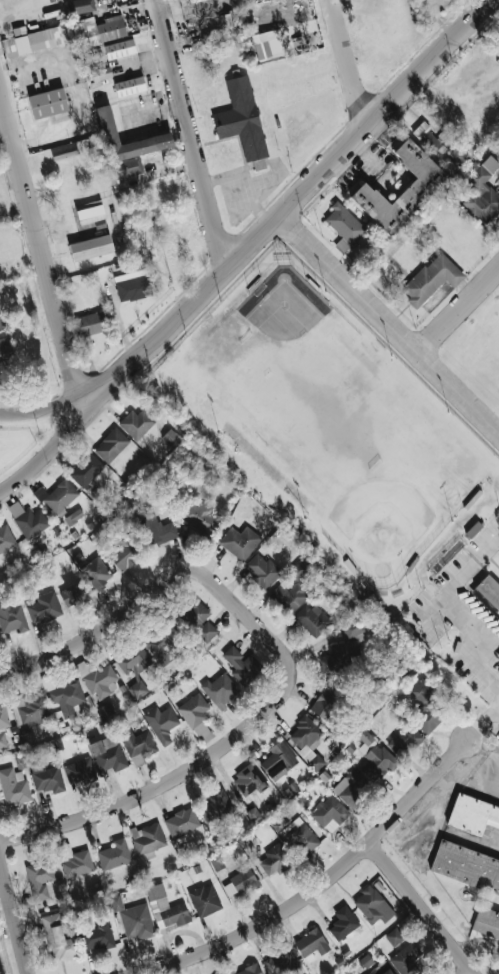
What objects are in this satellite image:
building: (192, 1)
building: (80, 6)
building: (215, 28)
building: (99, 30)
building: (31, 41)
building: (261, 45)
building: (119, 48)
road: (348, 60)
building: (101, 73)
building: (129, 86)
building: (47, 103)
building: (241, 118)
road: (191, 134)
building: (427, 137)
building: (126, 146)
building: (419, 189)
building: (482, 191)
road: (295, 201)
building: (89, 209)
building: (343, 226)
building: (90, 247)
road: (42, 251)
building: (431, 278)
building: (132, 285)
road: (459, 311)
building: (90, 323)
road: (390, 323)
building: (1, 324)
building: (5, 349)
building: (380, 359)
park: (313, 393)
road: (50, 414)
building: (137, 423)
building: (170, 437)
building: (111, 445)
road: (53, 452)
building: (268, 469)
building: (86, 470)
building: (57, 496)
building: (73, 516)
building: (201, 518)
building: (27, 520)
park: (387, 523)
building: (156, 528)
building: (6, 538)
building: (239, 541)
building: (124, 554)
building: (262, 569)
building: (297, 570)
building: (96, 572)
building: (74, 594)
building: (491, 595)
building: (289, 597)
road: (446, 598)
building: (43, 607)
road: (434, 615)
building: (12, 617)
road: (115, 617)
building: (198, 619)
building: (311, 619)
building: (352, 628)
building: (162, 643)
building: (339, 656)
building: (133, 659)
building: (241, 665)
road: (478, 665)
building: (97, 679)
building: (220, 688)
building: (137, 689)
building: (66, 697)
building: (327, 701)
building: (426, 706)
road: (495, 707)
building: (29, 708)
building: (193, 709)
building: (161, 723)
building: (3, 724)
building: (404, 740)
building: (307, 741)
building: (137, 745)
road: (483, 749)
building: (108, 753)
road: (212, 753)
building: (278, 760)
building: (377, 763)
building: (80, 770)
building: (47, 779)
building: (249, 780)
building: (13, 786)
building: (351, 787)
building: (216, 806)
building: (329, 813)
building: (473, 815)
building: (181, 822)
building: (300, 838)
building: (147, 839)
building: (114, 854)
building: (74, 860)
building: (275, 860)
building: (466, 867)
building: (38, 878)
building: (240, 882)
road: (320, 885)
building: (204, 900)
building: (373, 904)
road: (423, 907)
building: (165, 908)
road: (15, 913)
building: (134, 918)
building: (486, 921)
building: (343, 922)
building: (97, 935)
building: (393, 936)
building: (58, 938)
building: (311, 945)
building: (406, 958)
building: (279, 961)
building: (1, 968)
building: (380, 969)
building: (248, 970)
road: (470, 972)

